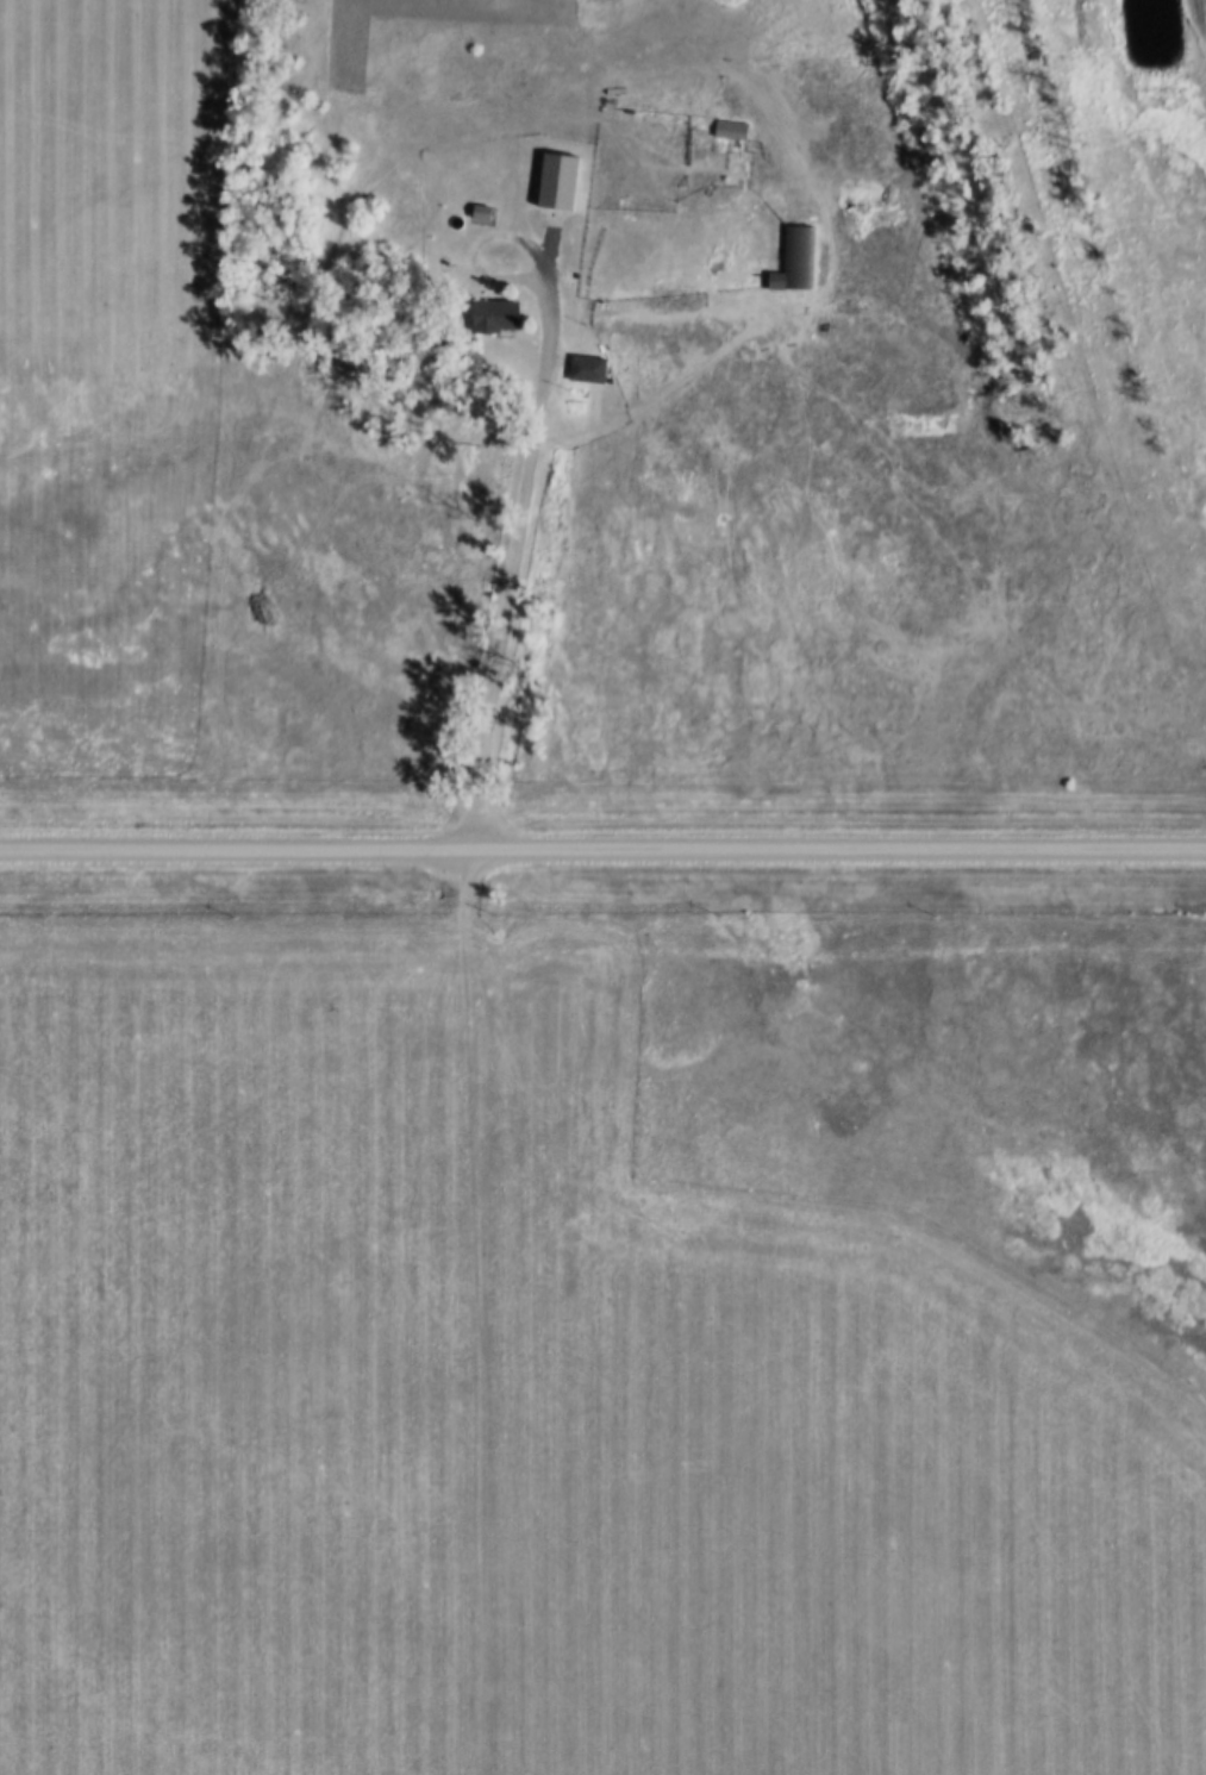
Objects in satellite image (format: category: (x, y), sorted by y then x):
road: (579, 86)
building: (727, 129)
building: (793, 260)
building: (490, 315)
building: (583, 369)
road: (669, 389)
road: (538, 446)
road: (602, 854)
road: (487, 1312)

